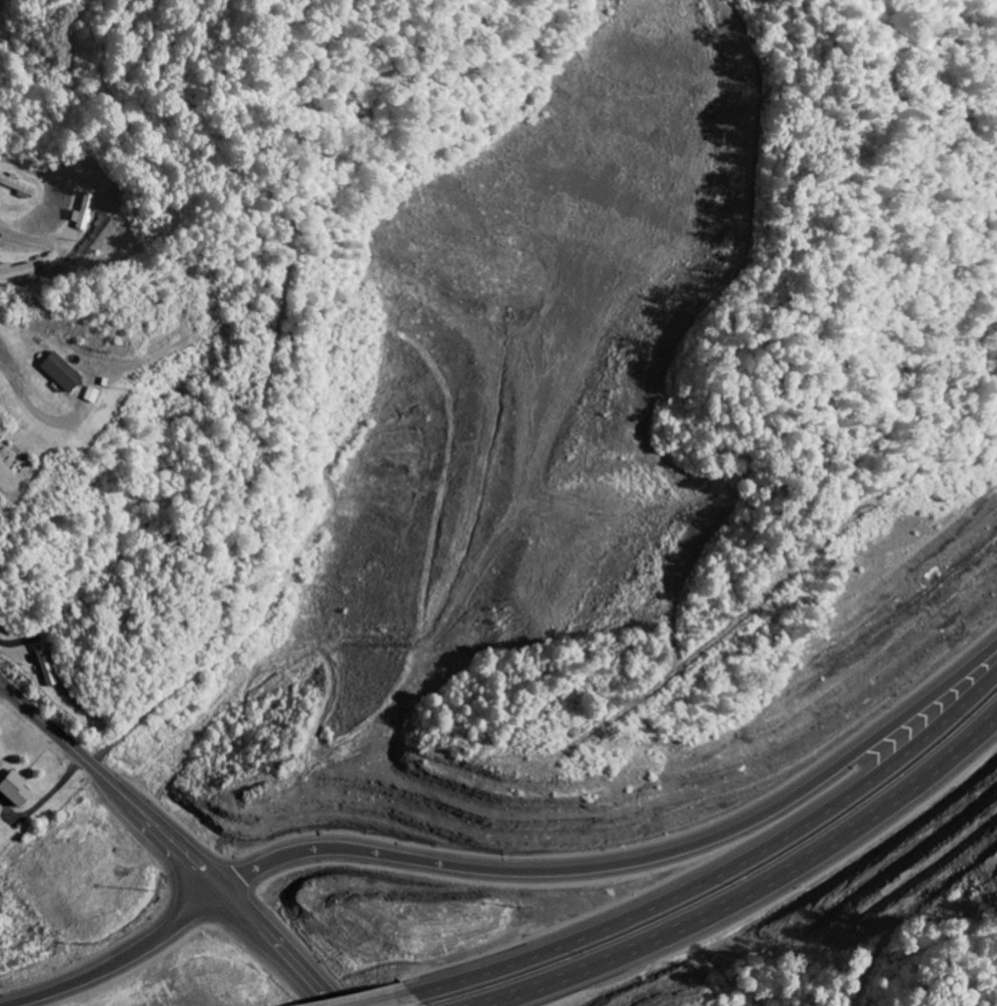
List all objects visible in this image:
building: (18, 186)
building: (81, 212)
building: (14, 271)
building: (58, 372)
building: (90, 396)
road: (24, 400)
building: (42, 665)
building: (11, 789)
road: (167, 842)
road: (630, 864)
road: (721, 877)
road: (752, 894)
road: (126, 960)
road: (387, 999)

